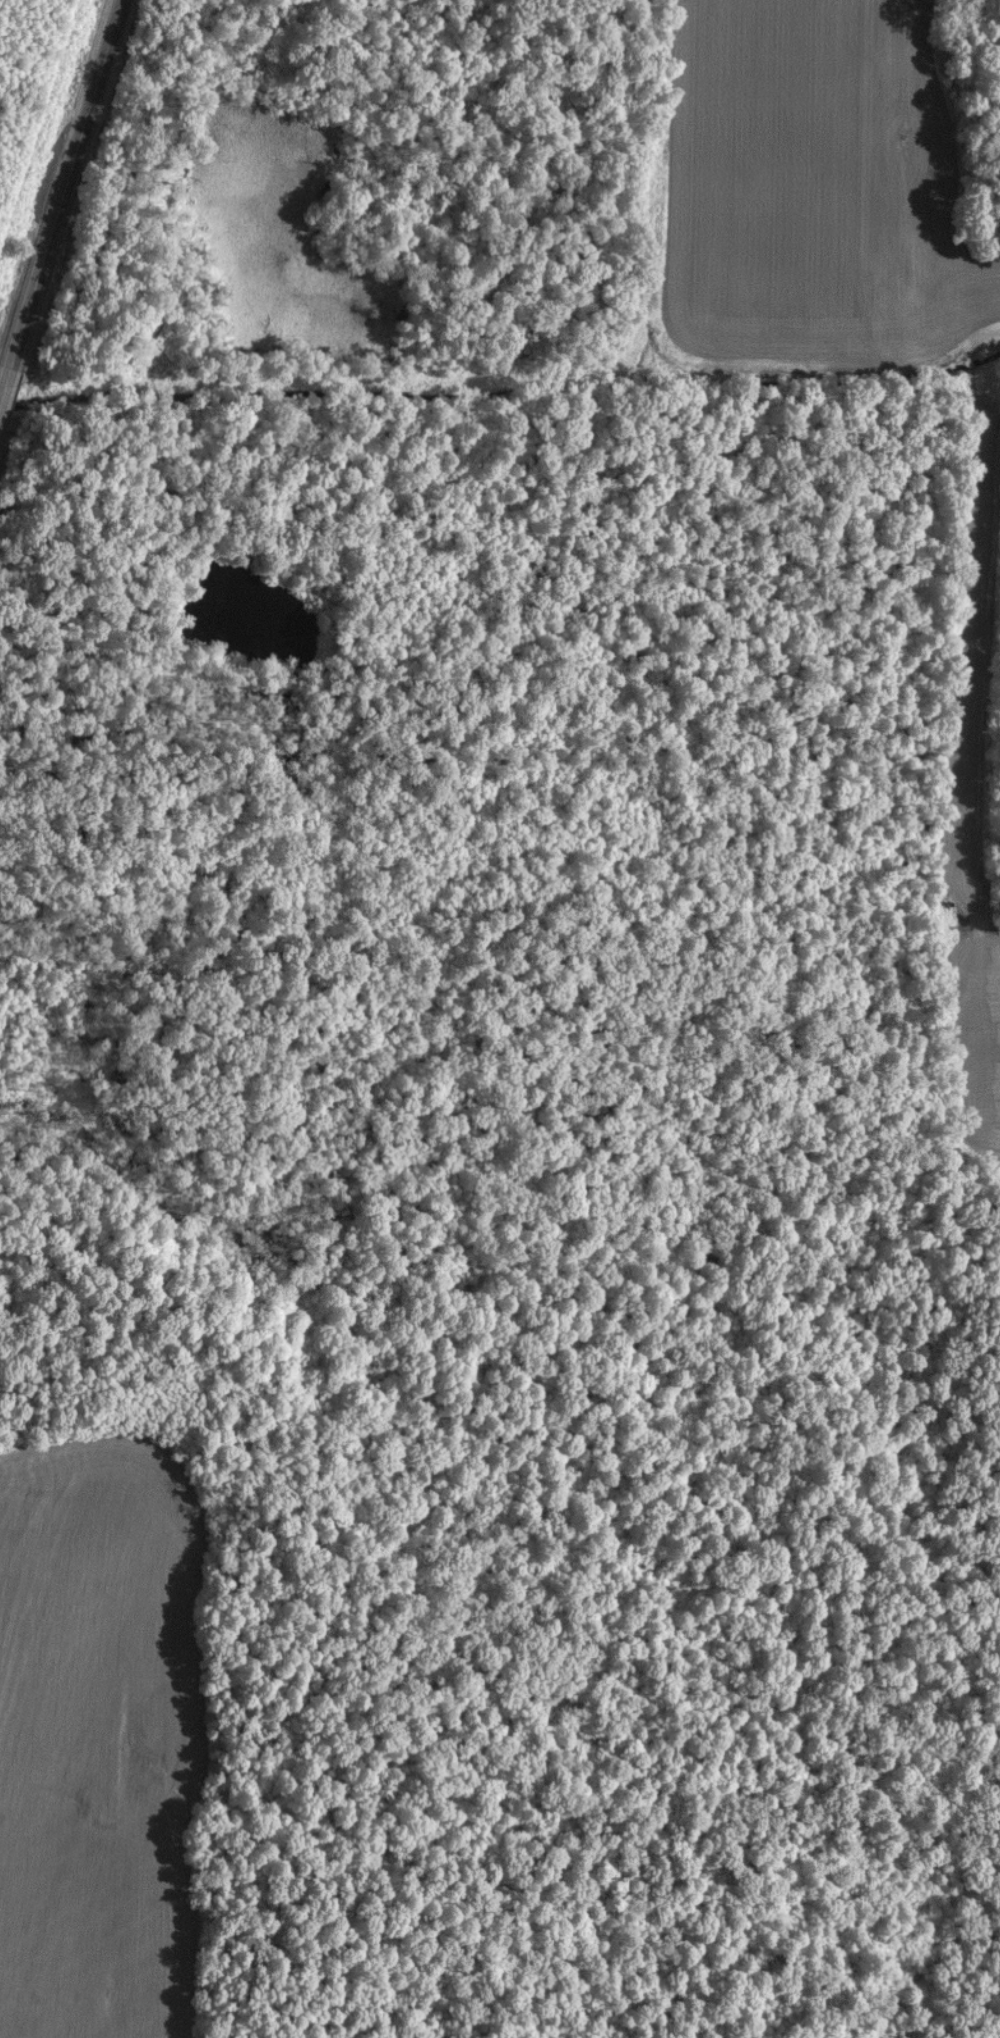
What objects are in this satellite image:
road: (58, 196)

